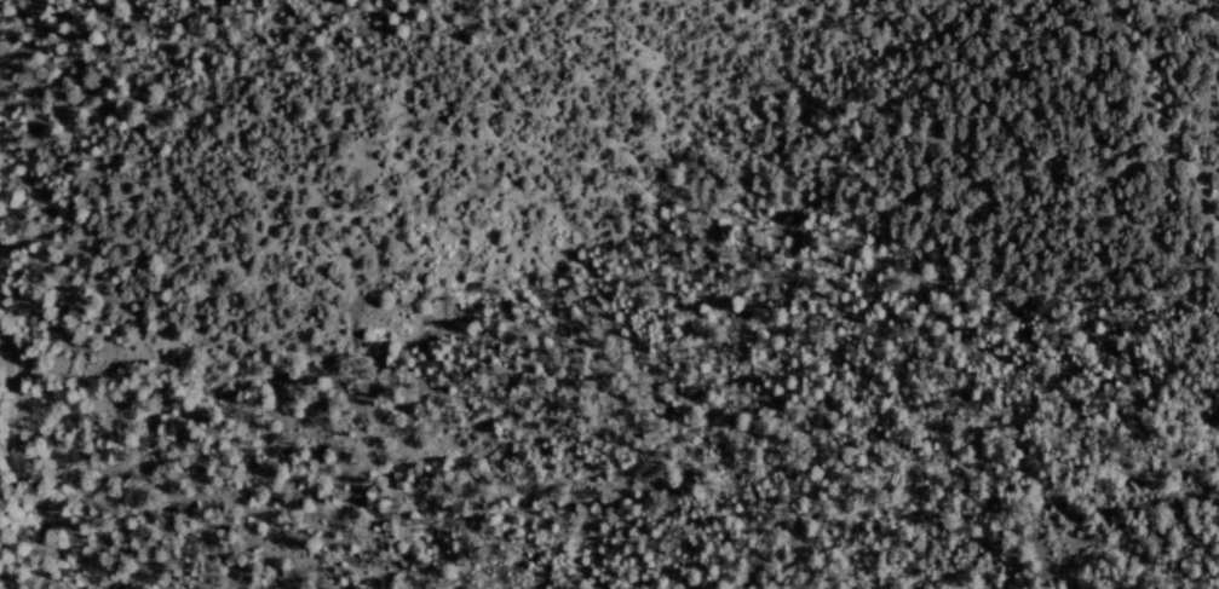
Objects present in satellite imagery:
road: (1155, 146)
road: (759, 302)

